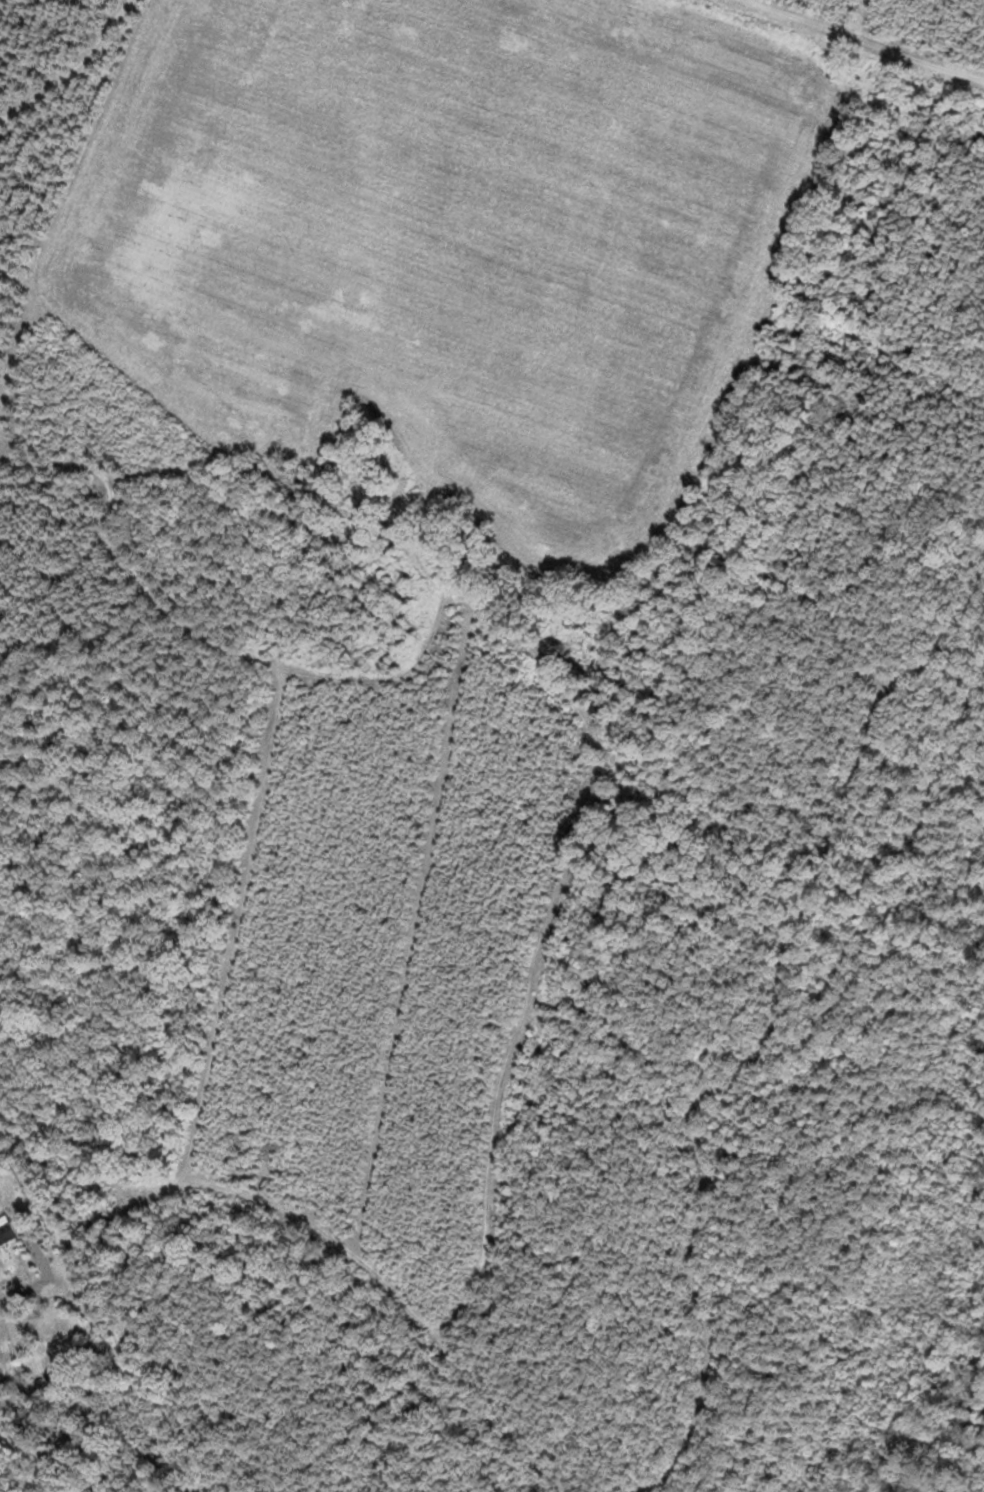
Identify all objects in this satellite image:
building: (8, 1232)
road: (42, 1281)

